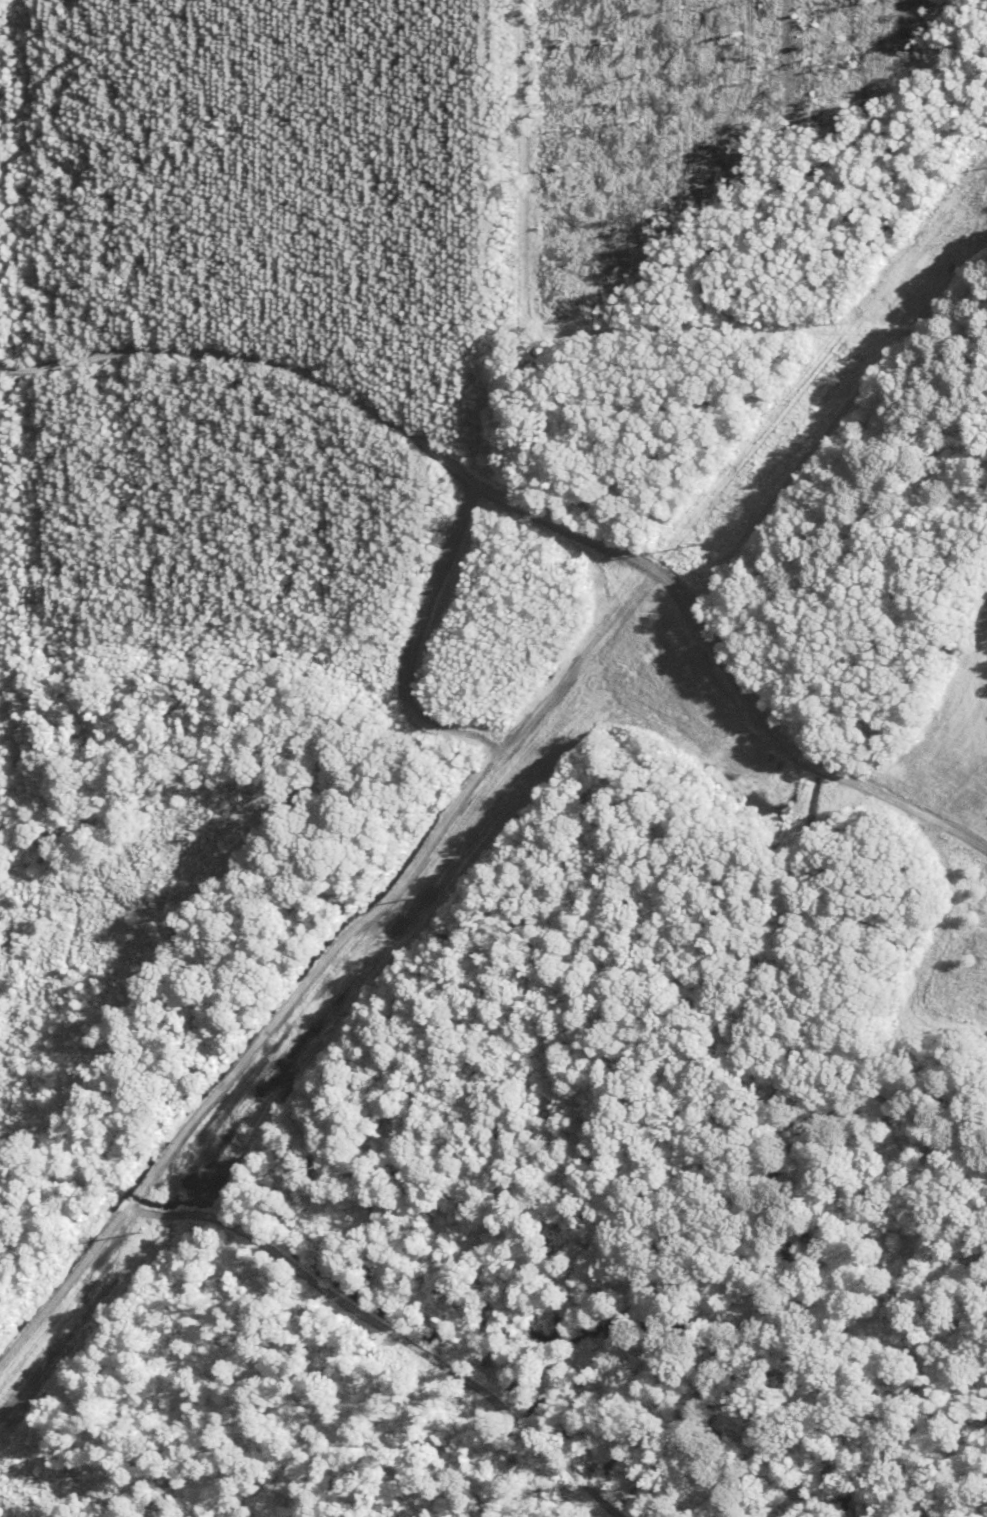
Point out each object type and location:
power tower: (701, 543)
power tower: (407, 899)
power tower: (137, 1233)

